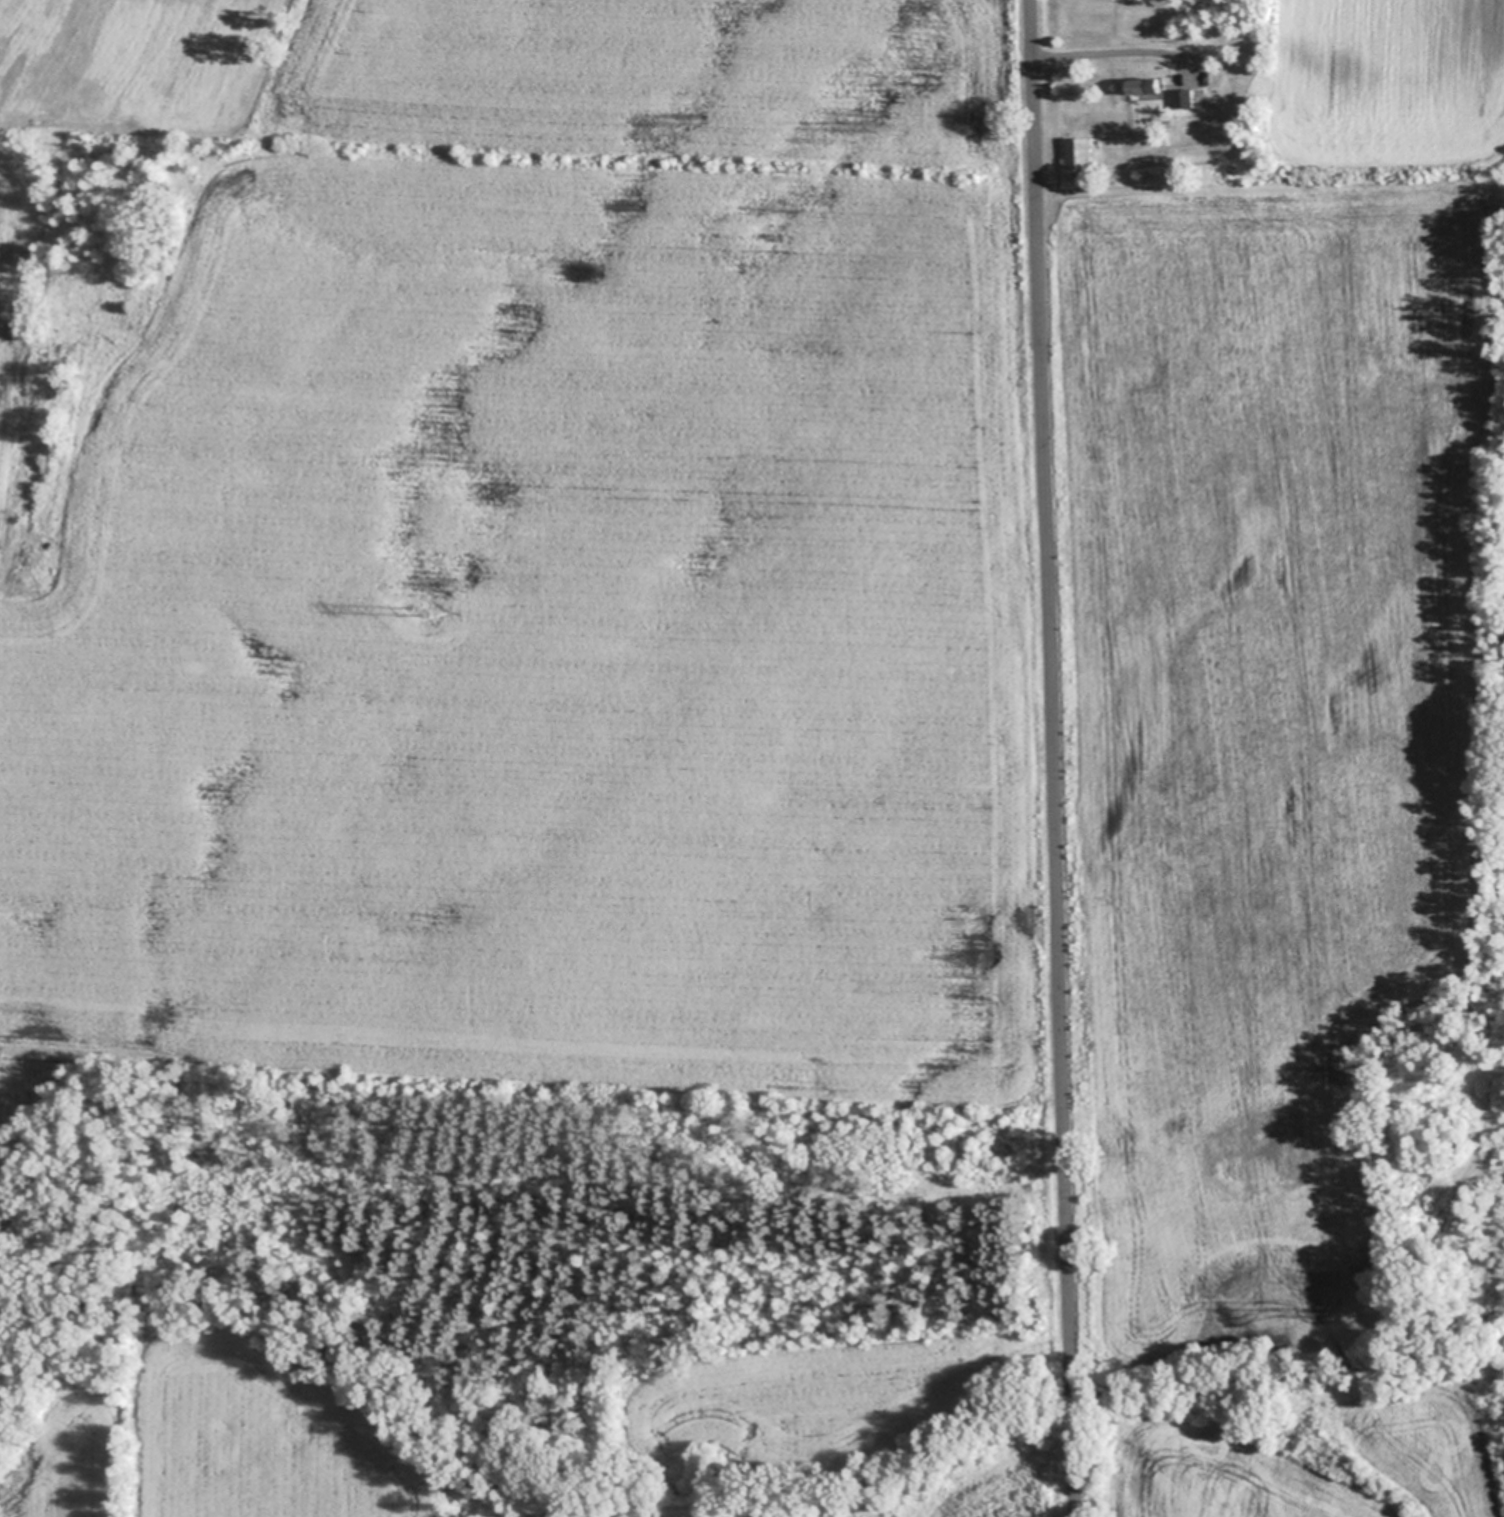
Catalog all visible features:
building: (1148, 88)
building: (1184, 98)
building: (1080, 151)
power tower: (795, 168)
power tower: (416, 605)
road: (1053, 758)
power tower: (6, 1069)

